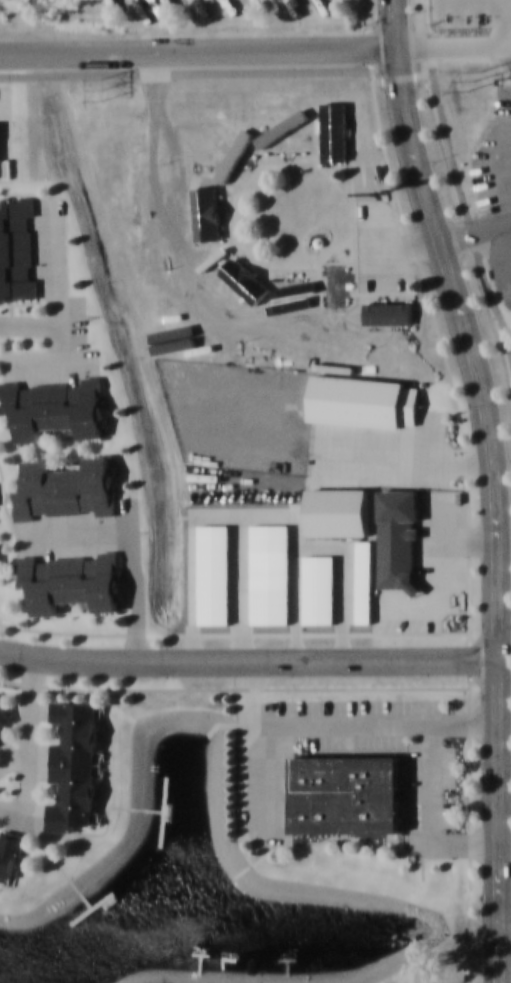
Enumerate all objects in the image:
road: (393, 24)
road: (420, 37)
road: (453, 46)
road: (198, 51)
road: (222, 72)
power tower: (473, 80)
power tower: (104, 89)
building: (220, 110)
building: (281, 114)
building: (333, 132)
building: (278, 137)
building: (236, 156)
building: (185, 199)
building: (209, 213)
road: (467, 219)
building: (16, 249)
building: (224, 278)
building: (290, 289)
building: (335, 290)
building: (388, 311)
building: (156, 329)
building: (401, 351)
building: (303, 359)
building: (364, 400)
building: (56, 408)
building: (66, 488)
road: (496, 509)
building: (398, 539)
building: (72, 581)
road: (248, 661)
building: (4, 721)
building: (75, 764)
building: (346, 793)
building: (10, 856)
road: (505, 885)

